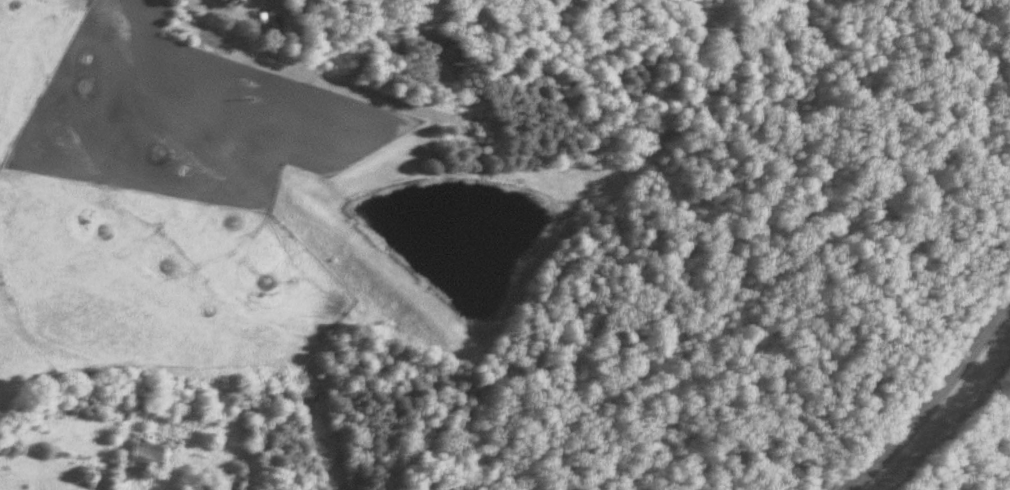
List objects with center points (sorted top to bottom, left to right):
building: (232, 3)
road: (933, 401)
building: (146, 454)
building: (232, 481)

